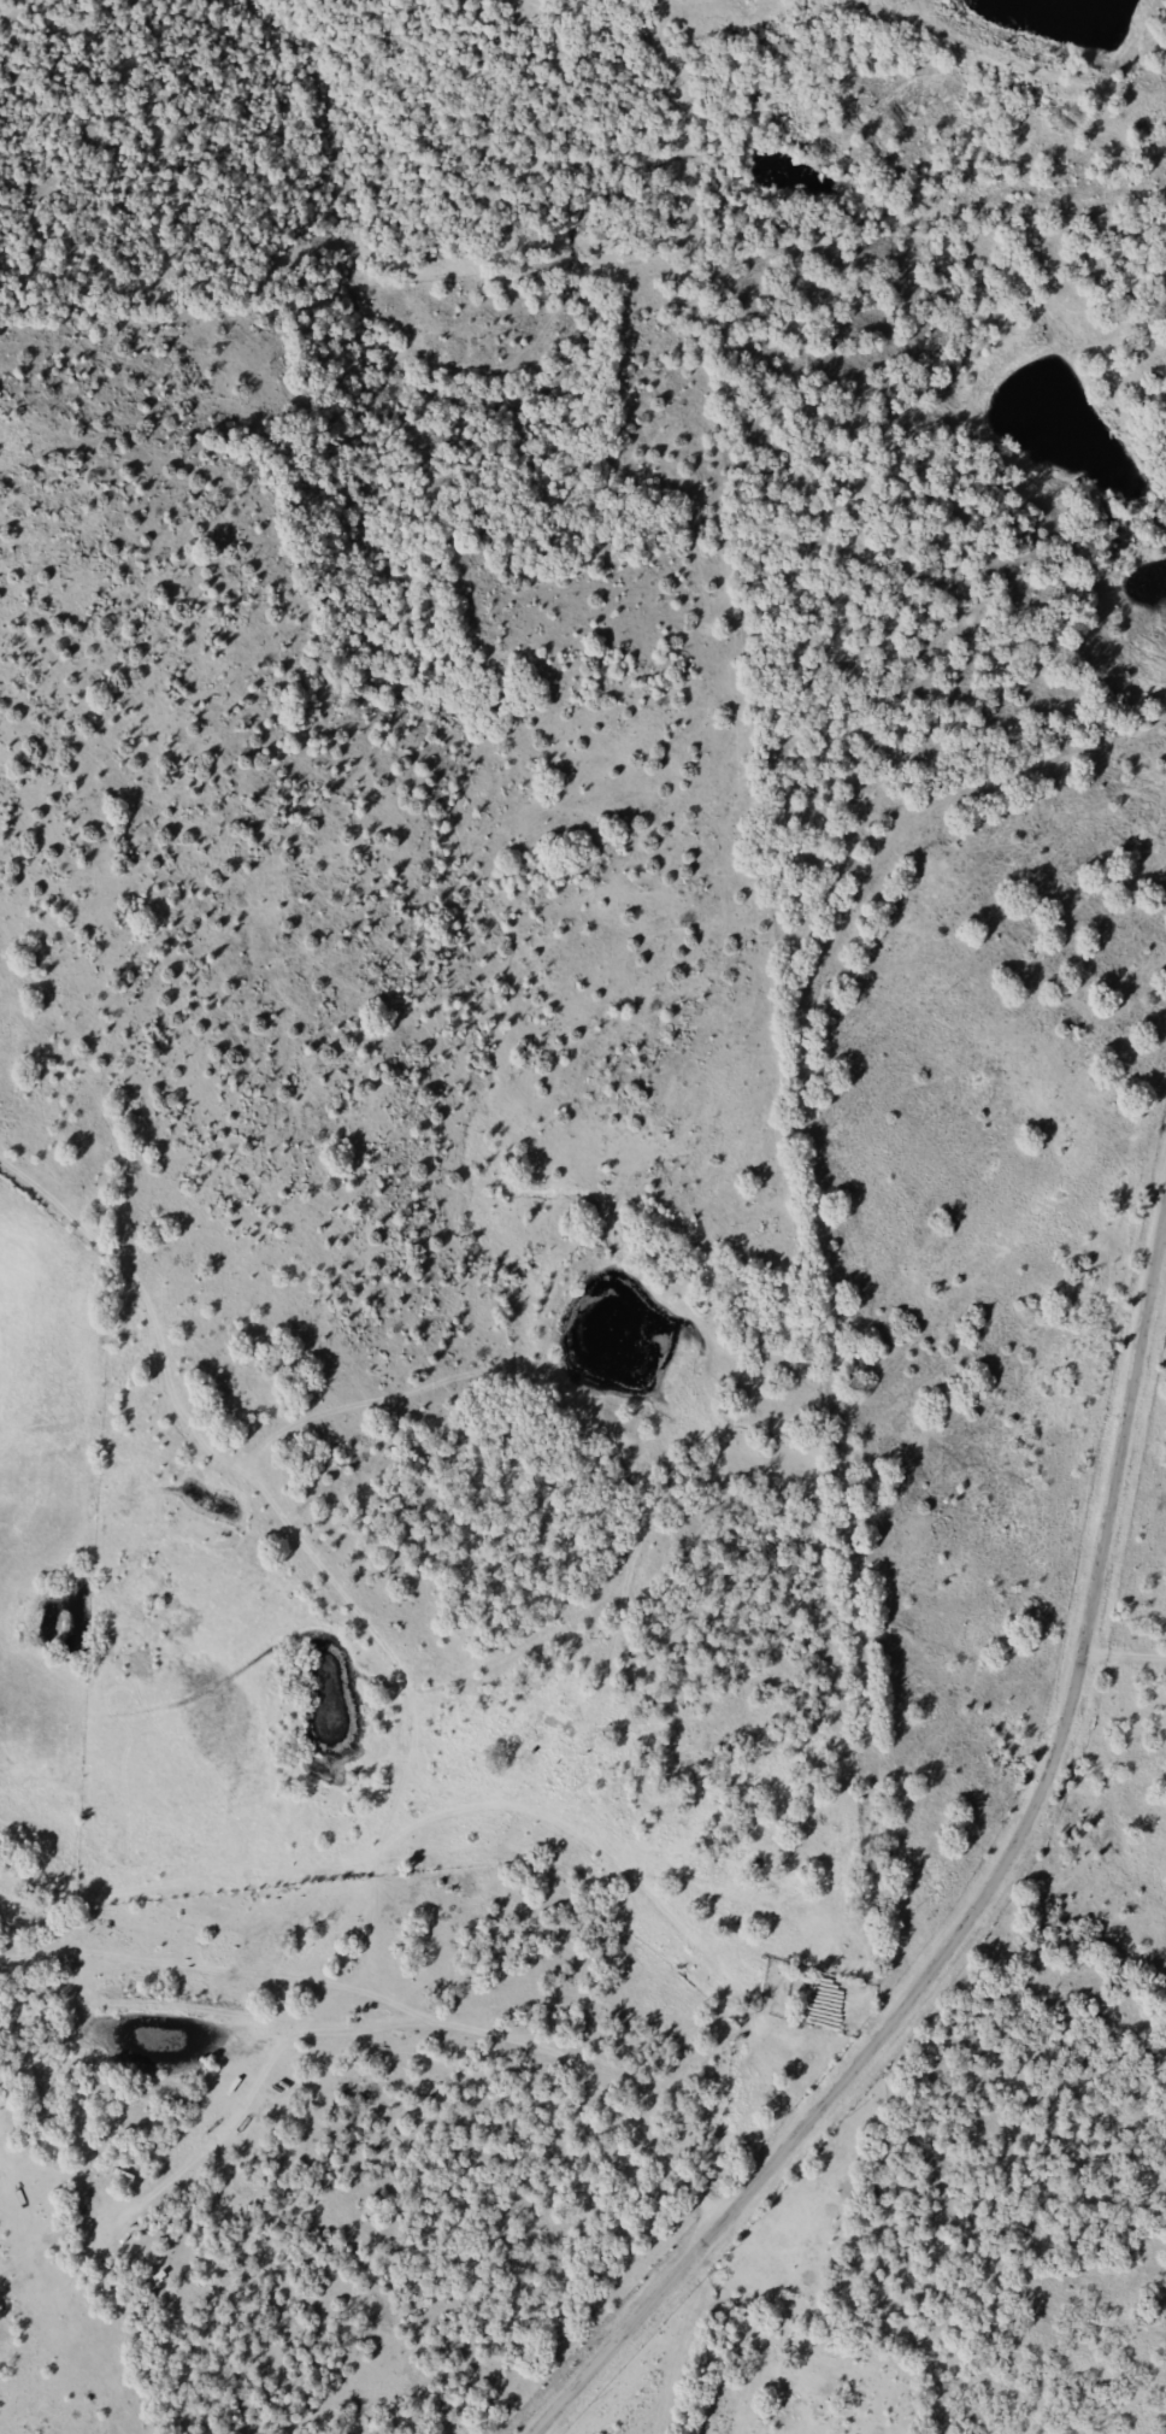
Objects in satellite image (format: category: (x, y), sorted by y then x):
road: (1124, 1656)
road: (989, 1887)
road: (388, 2023)
road: (10, 2177)

